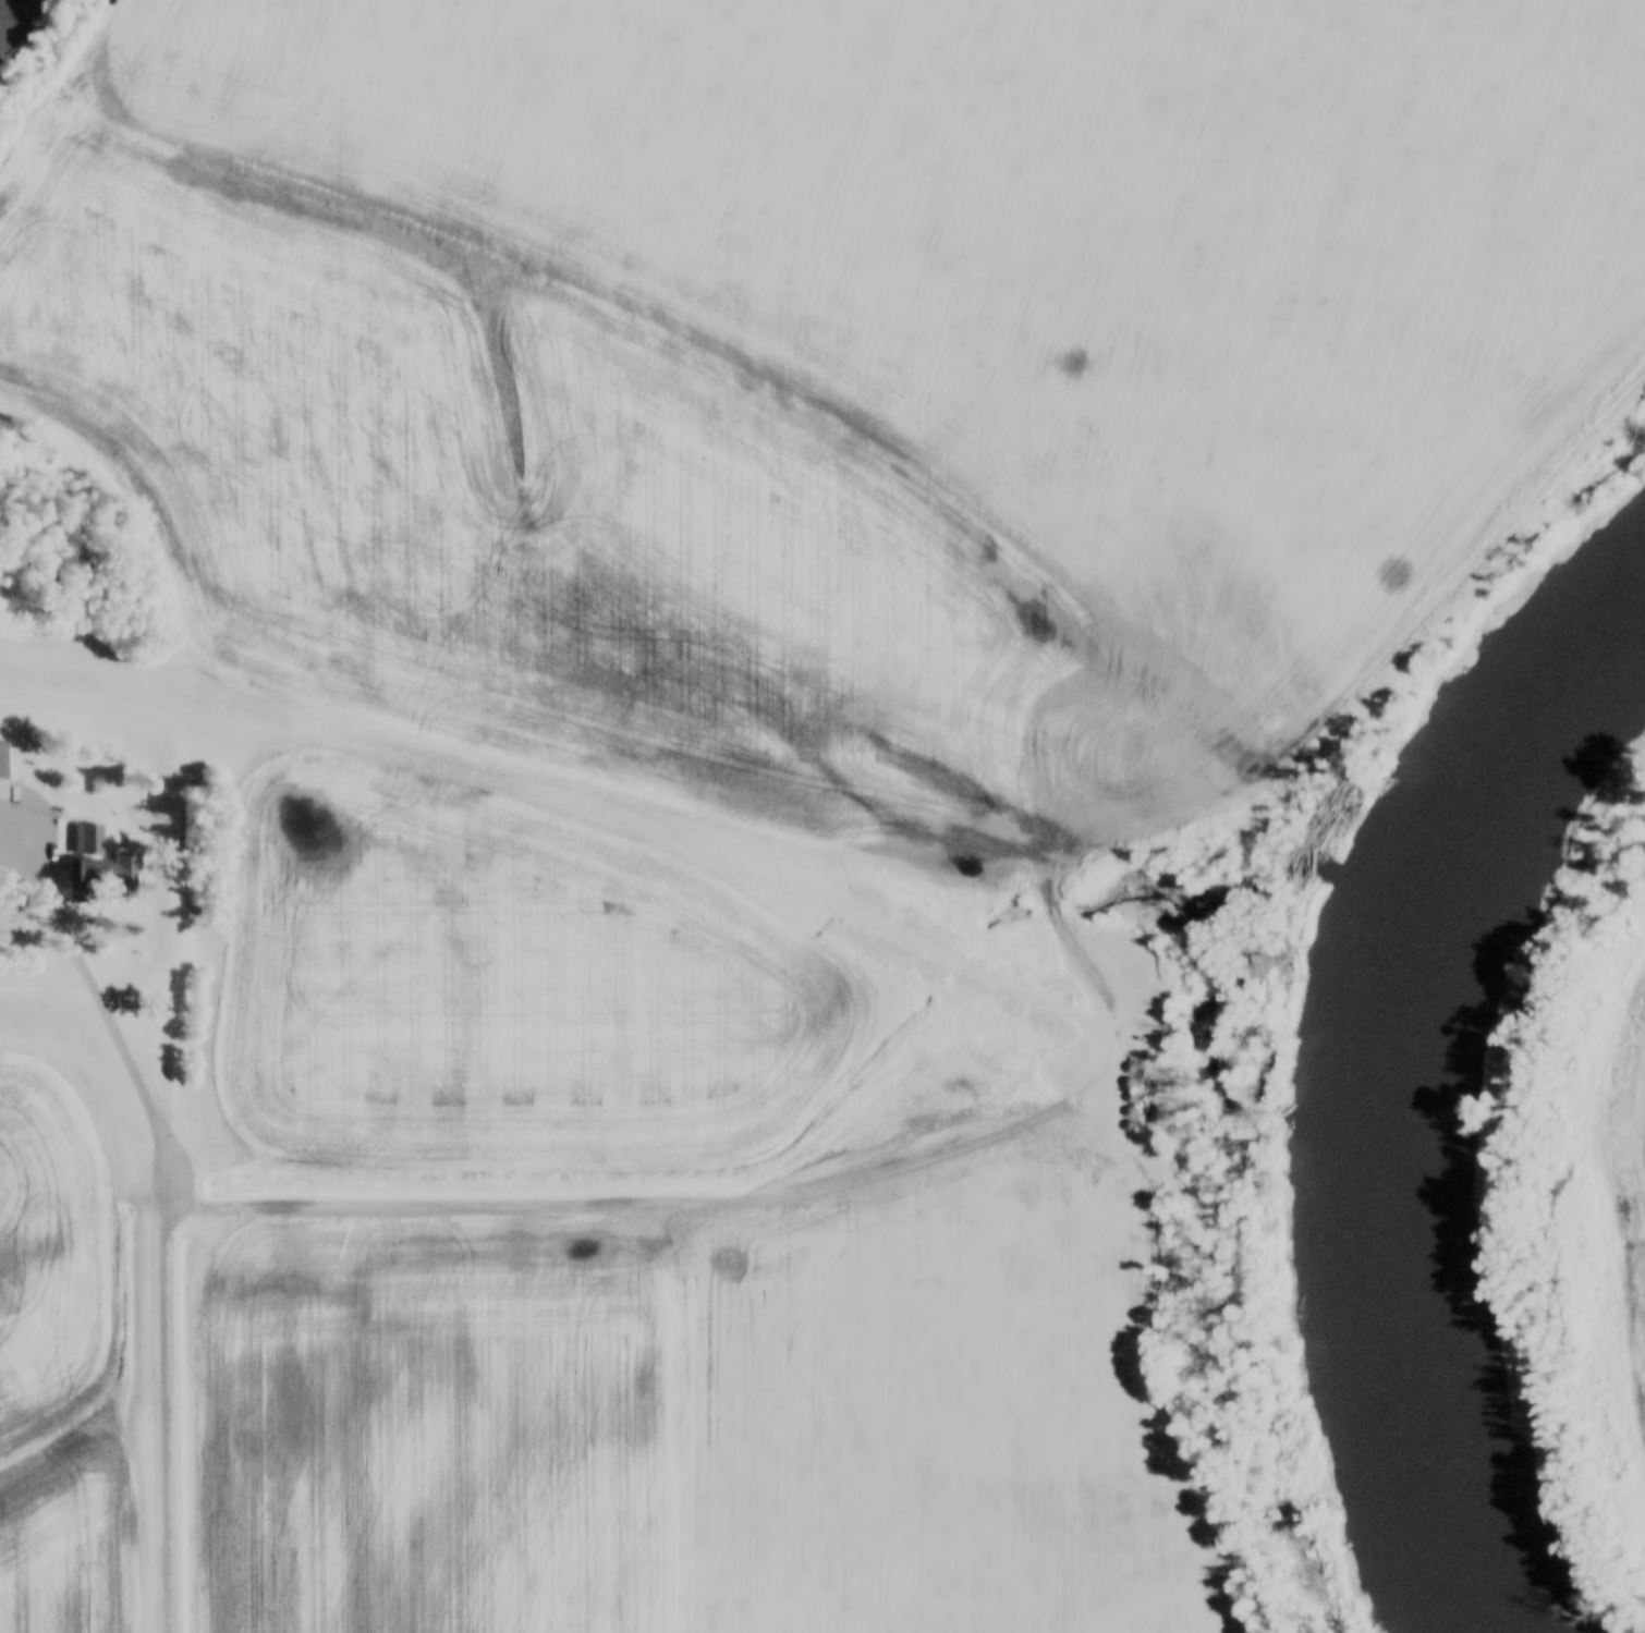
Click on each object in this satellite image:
building: (4, 758)
building: (102, 869)
road: (1107, 1078)
river: (1417, 1093)
road: (170, 1210)

